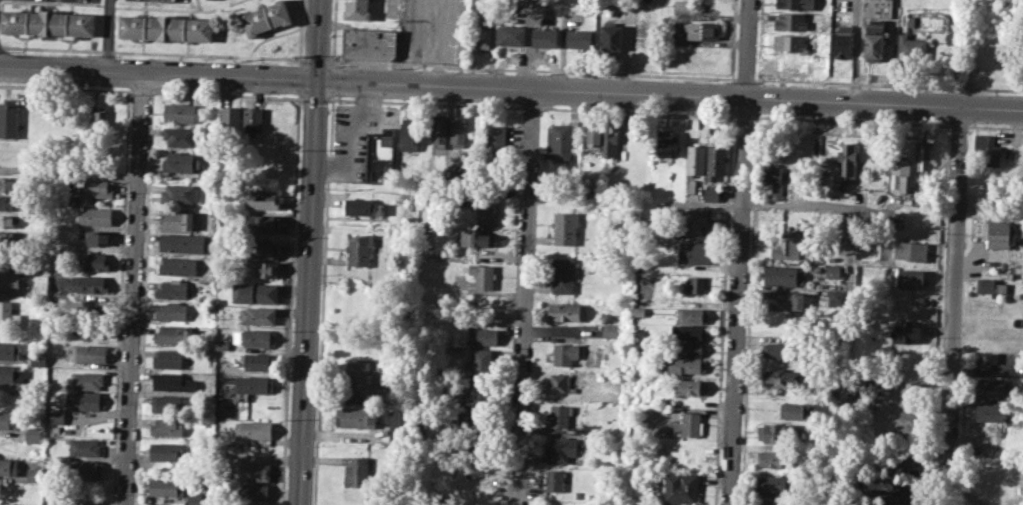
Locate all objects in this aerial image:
building: (209, 0)
building: (616, 3)
building: (795, 4)
building: (887, 6)
road: (215, 8)
building: (356, 9)
building: (268, 19)
building: (792, 20)
building: (910, 21)
building: (49, 25)
building: (702, 29)
building: (168, 30)
road: (300, 32)
building: (478, 34)
building: (511, 35)
road: (107, 36)
road: (270, 36)
building: (875, 37)
building: (545, 38)
building: (578, 38)
building: (612, 38)
road: (317, 40)
building: (840, 41)
building: (370, 43)
building: (791, 44)
building: (912, 46)
road: (747, 49)
road: (151, 52)
road: (315, 59)
road: (331, 61)
building: (792, 64)
road: (504, 69)
road: (158, 75)
road: (298, 77)
road: (746, 79)
road: (330, 80)
traffic signals: (317, 81)
road: (889, 84)
road: (669, 95)
road: (297, 97)
road: (315, 97)
road: (423, 102)
road: (531, 106)
road: (637, 110)
building: (181, 112)
road: (743, 115)
building: (9, 117)
building: (230, 118)
building: (252, 118)
road: (851, 120)
building: (98, 124)
road: (958, 124)
road: (995, 126)
building: (458, 130)
building: (439, 131)
building: (410, 133)
parking lot: (355, 135)
building: (593, 135)
building: (180, 136)
building: (561, 139)
building: (609, 141)
building: (495, 143)
building: (667, 144)
building: (987, 150)
building: (379, 156)
building: (923, 156)
building: (695, 159)
building: (180, 161)
building: (848, 161)
building: (715, 162)
building: (900, 175)
building: (773, 179)
building: (12, 183)
building: (691, 185)
building: (96, 189)
building: (180, 193)
building: (710, 194)
building: (262, 199)
building: (12, 203)
road: (817, 203)
building: (362, 206)
building: (486, 211)
building: (94, 215)
building: (177, 220)
building: (11, 221)
building: (696, 221)
building: (264, 223)
building: (784, 223)
building: (565, 227)
building: (1000, 233)
building: (7, 236)
building: (99, 236)
building: (475, 237)
building: (181, 242)
building: (260, 248)
building: (359, 248)
building: (783, 248)
building: (910, 250)
building: (694, 252)
building: (11, 257)
building: (93, 261)
building: (179, 265)
building: (261, 268)
building: (832, 271)
building: (483, 275)
building: (563, 275)
building: (782, 276)
building: (910, 278)
building: (11, 281)
building: (696, 283)
building: (88, 284)
building: (39, 285)
building: (989, 285)
building: (173, 289)
road: (133, 290)
building: (255, 292)
road: (307, 292)
road: (525, 297)
building: (834, 297)
road: (735, 301)
building: (783, 301)
road: (952, 306)
building: (638, 310)
building: (171, 311)
building: (566, 311)
building: (257, 315)
building: (691, 315)
building: (8, 317)
building: (611, 330)
building: (906, 331)
building: (689, 332)
building: (171, 333)
building: (487, 336)
building: (254, 338)
building: (222, 345)
building: (691, 348)
building: (9, 349)
building: (777, 349)
building: (89, 353)
building: (564, 353)
building: (37, 358)
building: (167, 358)
building: (256, 360)
building: (989, 360)
building: (482, 361)
building: (686, 365)
building: (7, 373)
building: (358, 375)
building: (780, 378)
building: (879, 379)
building: (87, 380)
building: (173, 382)
building: (562, 383)
building: (253, 384)
building: (690, 386)
building: (991, 387)
building: (478, 394)
building: (83, 400)
building: (170, 404)
building: (796, 410)
building: (990, 412)
building: (560, 414)
building: (55, 415)
building: (356, 416)
building: (8, 418)
building: (394, 423)
building: (692, 424)
building: (167, 426)
building: (253, 431)
building: (775, 432)
building: (32, 434)
building: (986, 439)
building: (84, 446)
building: (560, 448)
building: (166, 451)
building: (774, 458)
building: (905, 460)
building: (8, 464)
building: (476, 468)
building: (84, 469)
building: (251, 470)
building: (356, 472)
building: (31, 473)
building: (555, 480)
building: (773, 485)
building: (164, 486)
building: (682, 488)
building: (250, 491)
building: (193, 497)
building: (770, 502)

